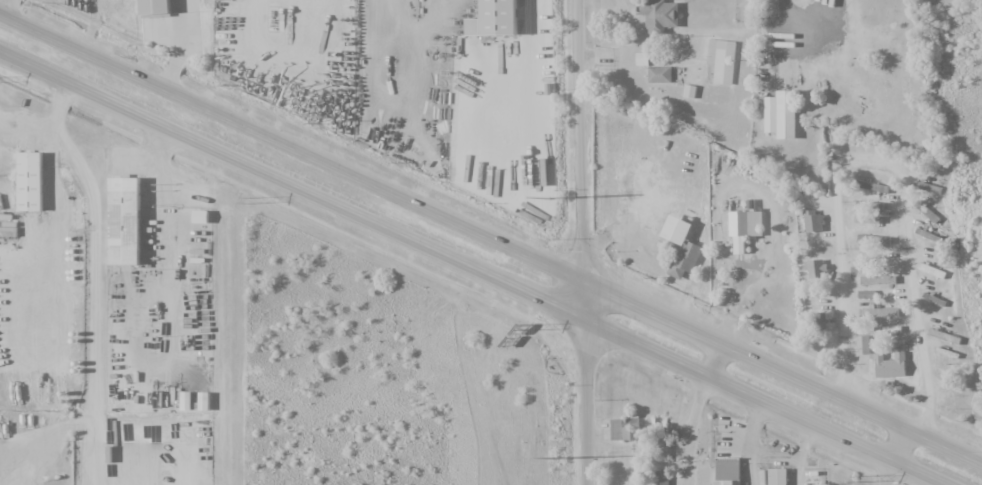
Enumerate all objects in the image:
building: (161, 8)
road: (12, 9)
building: (658, 14)
building: (506, 20)
road: (188, 47)
building: (720, 61)
building: (659, 74)
building: (780, 114)
road: (888, 162)
building: (38, 183)
building: (870, 185)
building: (926, 186)
power tower: (249, 202)
power tower: (548, 204)
building: (870, 215)
building: (812, 220)
building: (130, 225)
building: (744, 227)
road: (491, 238)
building: (873, 240)
road: (584, 242)
building: (681, 246)
building: (815, 268)
road: (473, 269)
building: (930, 269)
building: (877, 279)
building: (865, 294)
building: (933, 299)
building: (878, 312)
building: (820, 321)
power tower: (525, 326)
building: (939, 334)
road: (713, 359)
building: (625, 429)
road: (898, 444)
building: (660, 448)
power tower: (553, 457)
building: (727, 471)
building: (661, 476)
building: (777, 476)
power tower: (856, 479)

